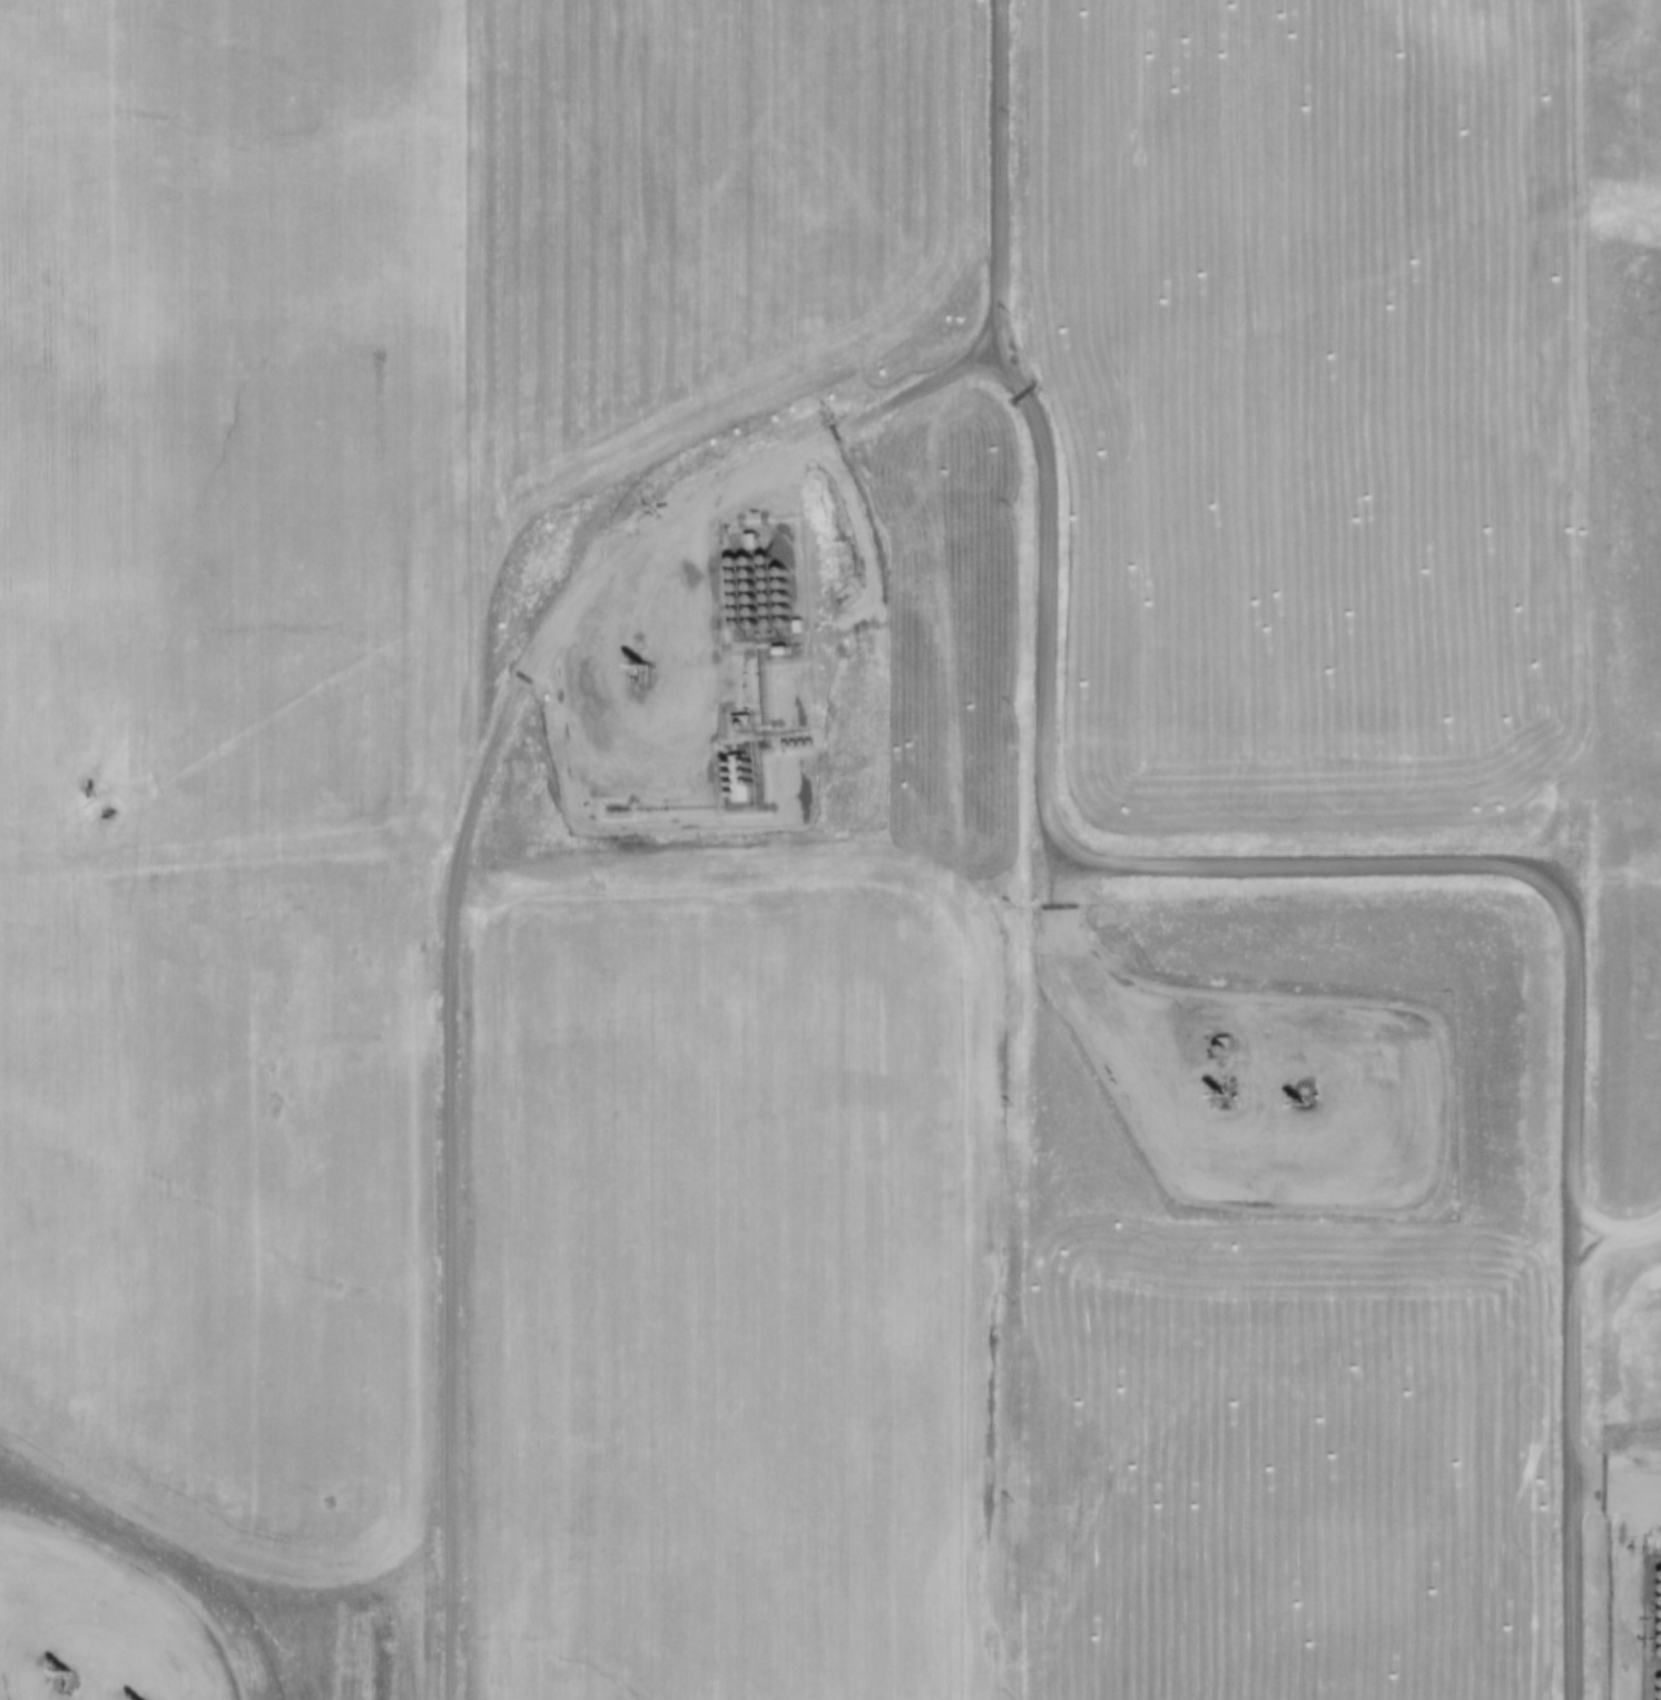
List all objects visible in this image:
road: (1550, 450)
road: (455, 484)
building: (793, 625)
building: (774, 649)
petroleum well: (638, 667)
building: (735, 720)
road: (502, 727)
road: (666, 761)
building: (730, 776)
road: (1452, 866)
road: (1281, 1160)
road: (1611, 1229)
road: (1612, 1482)
road: (88, 1628)
petroleum well: (57, 1680)

